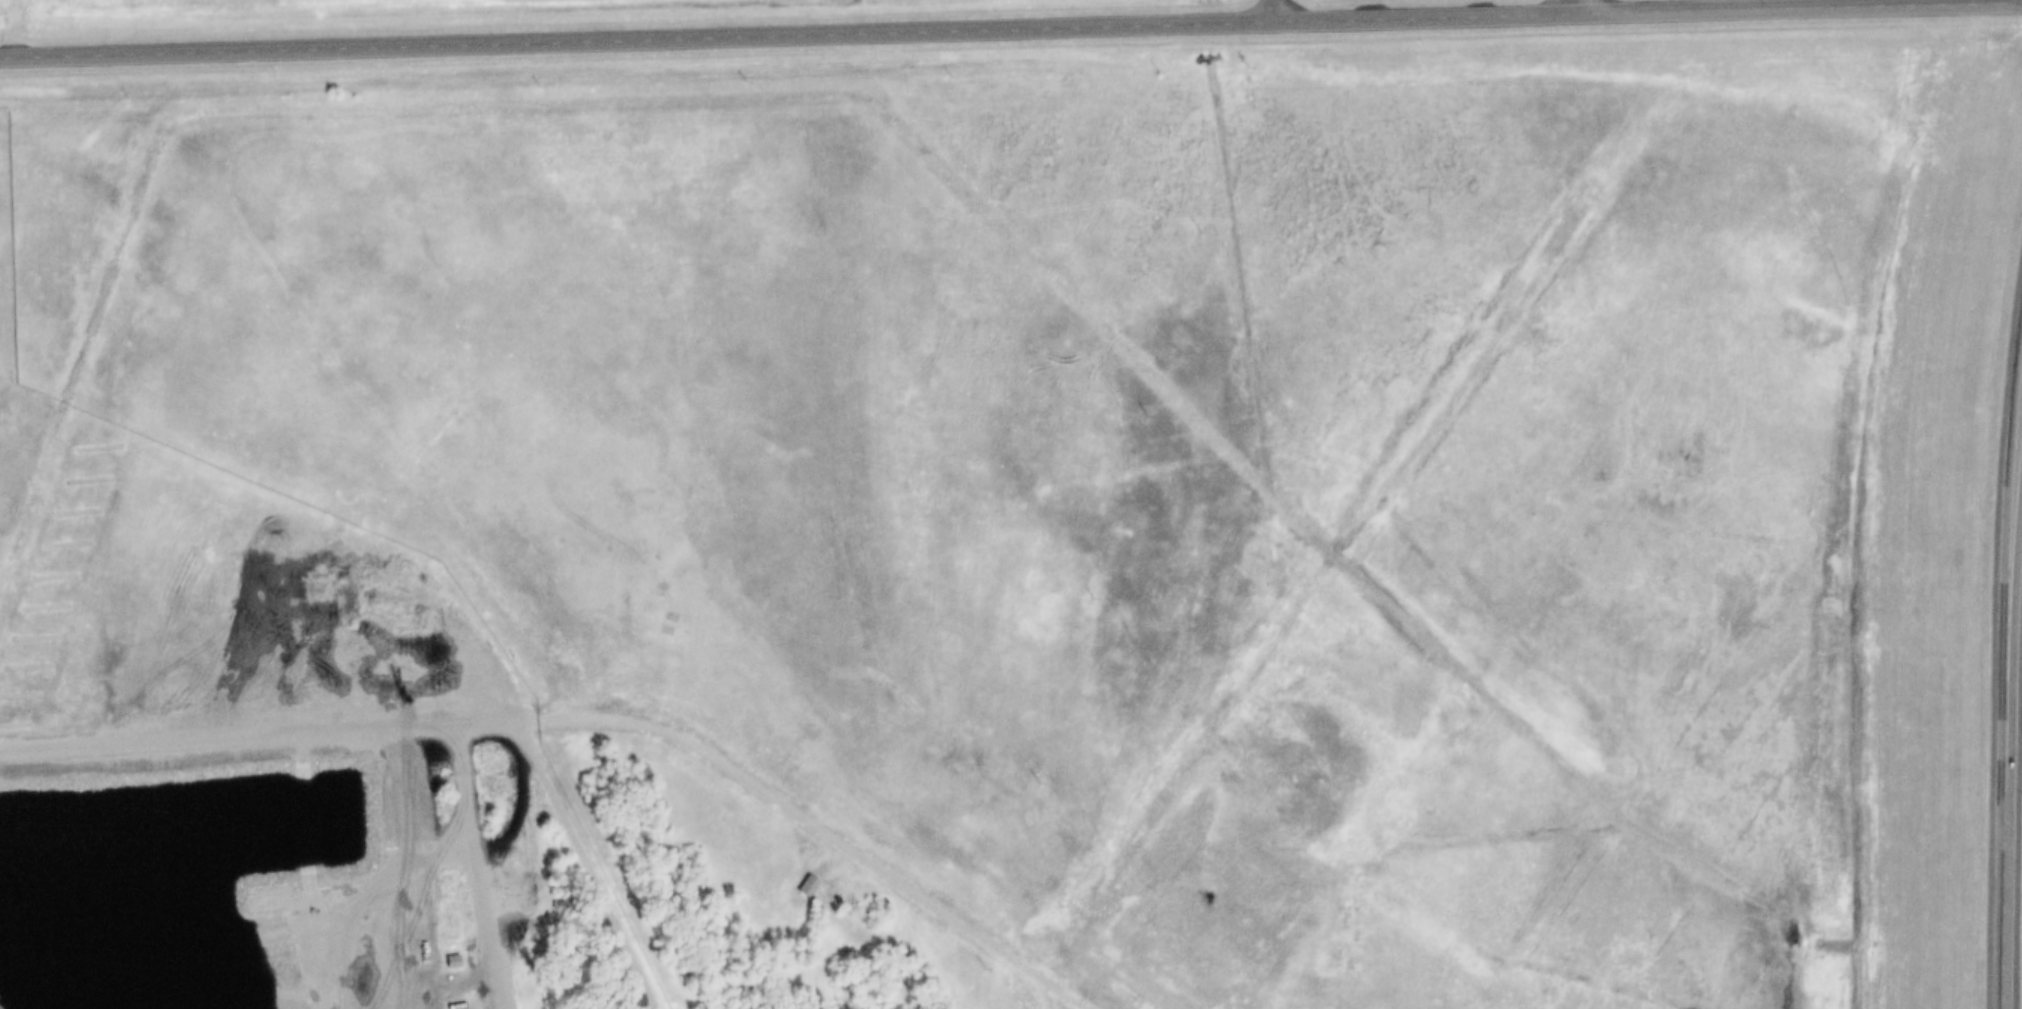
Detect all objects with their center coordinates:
road: (1564, 8)
road: (1278, 11)
road: (1010, 30)
road: (1376, 505)
building: (510, 710)
road: (589, 714)
building: (798, 885)
building: (809, 888)
building: (1254, 890)
road: (1053, 994)

